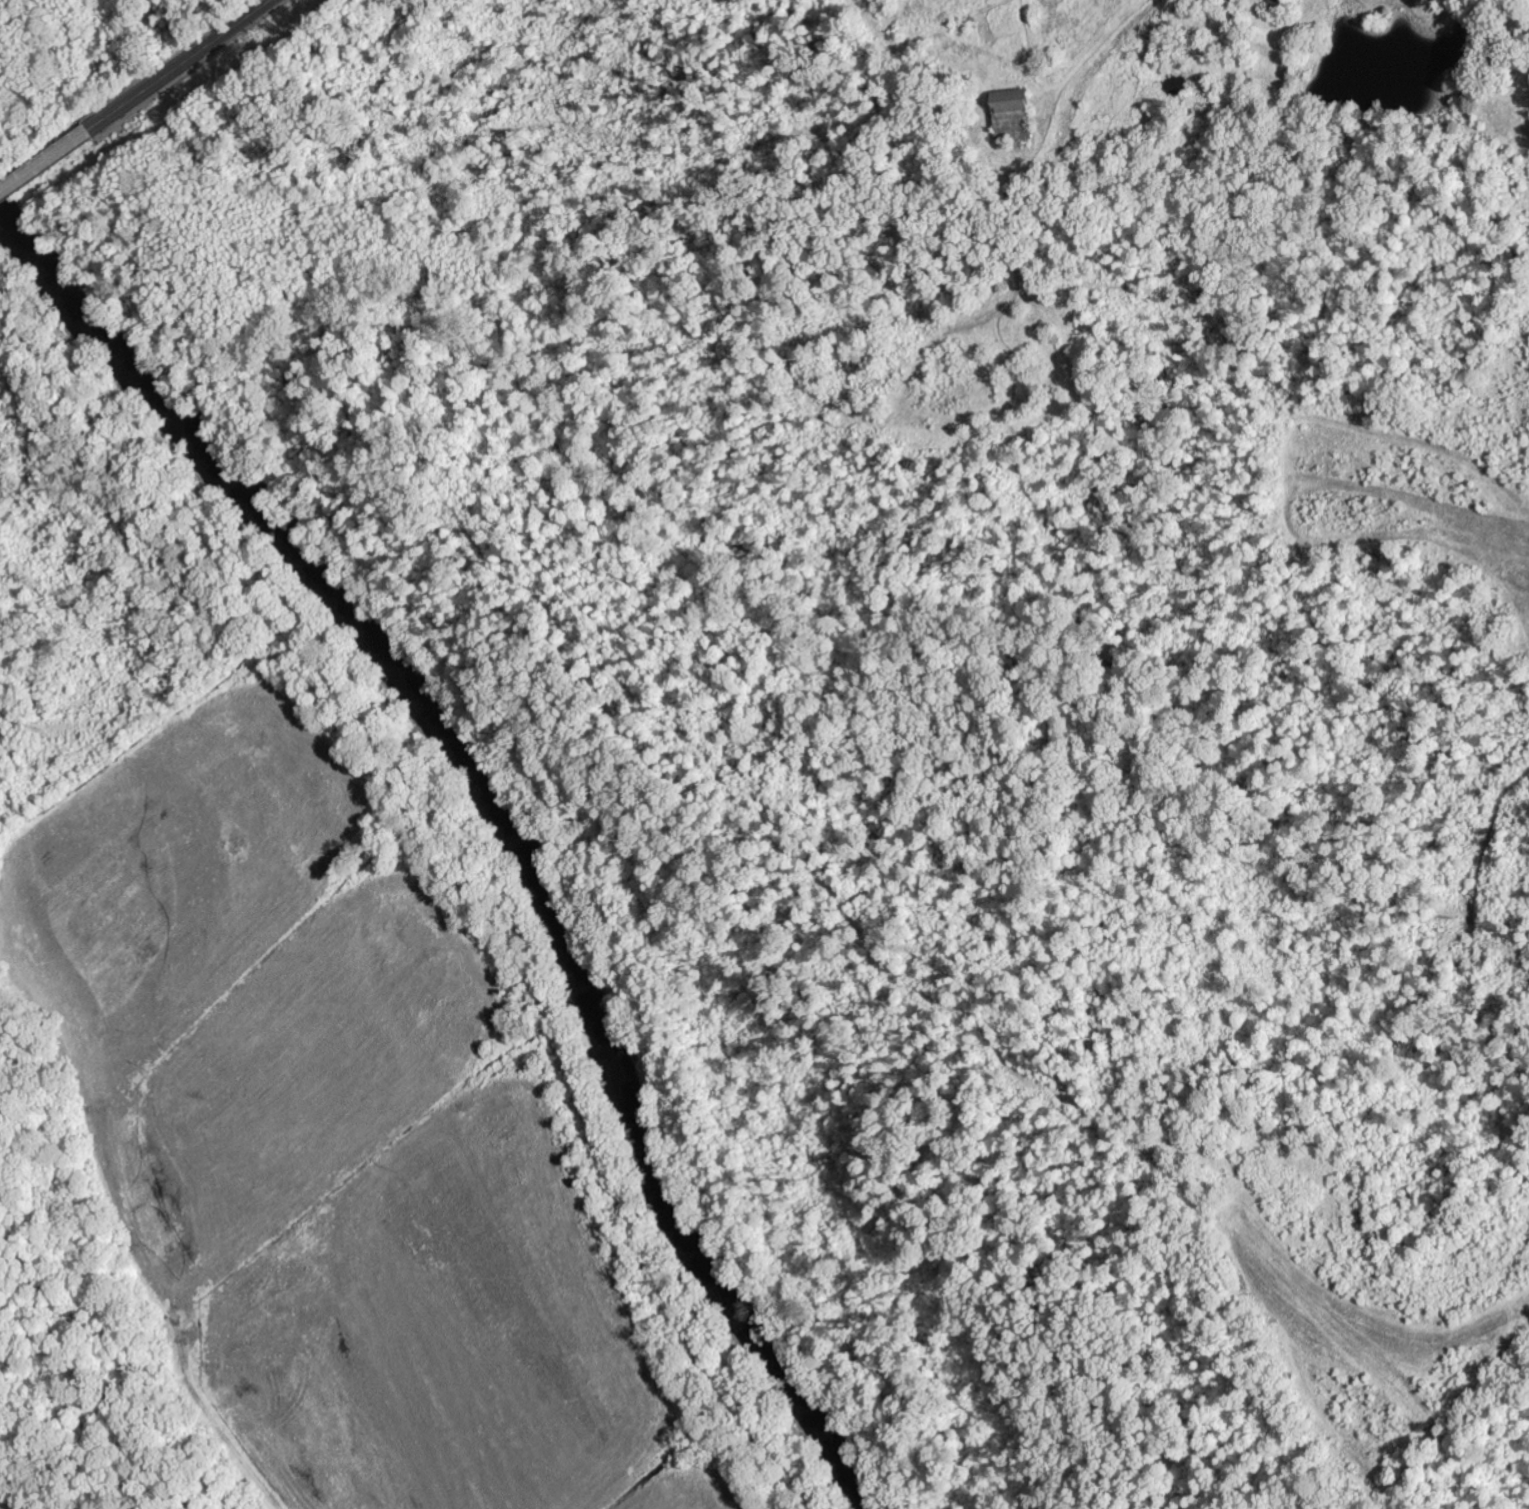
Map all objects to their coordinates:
road: (178, 64)
building: (1014, 116)
road: (45, 161)
river: (501, 814)
road: (1460, 1399)
road: (1507, 1470)

